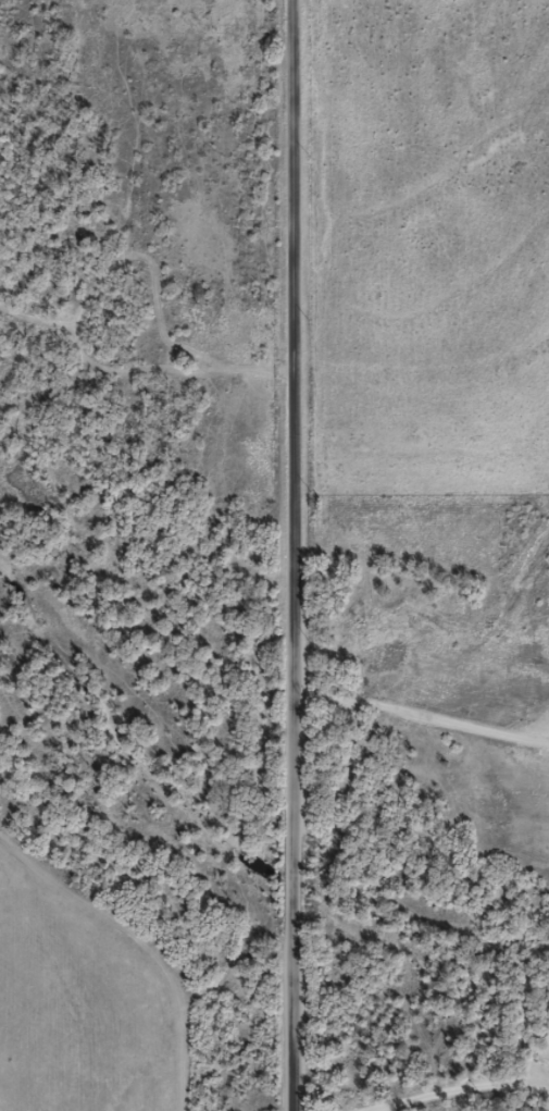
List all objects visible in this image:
road: (310, 555)

